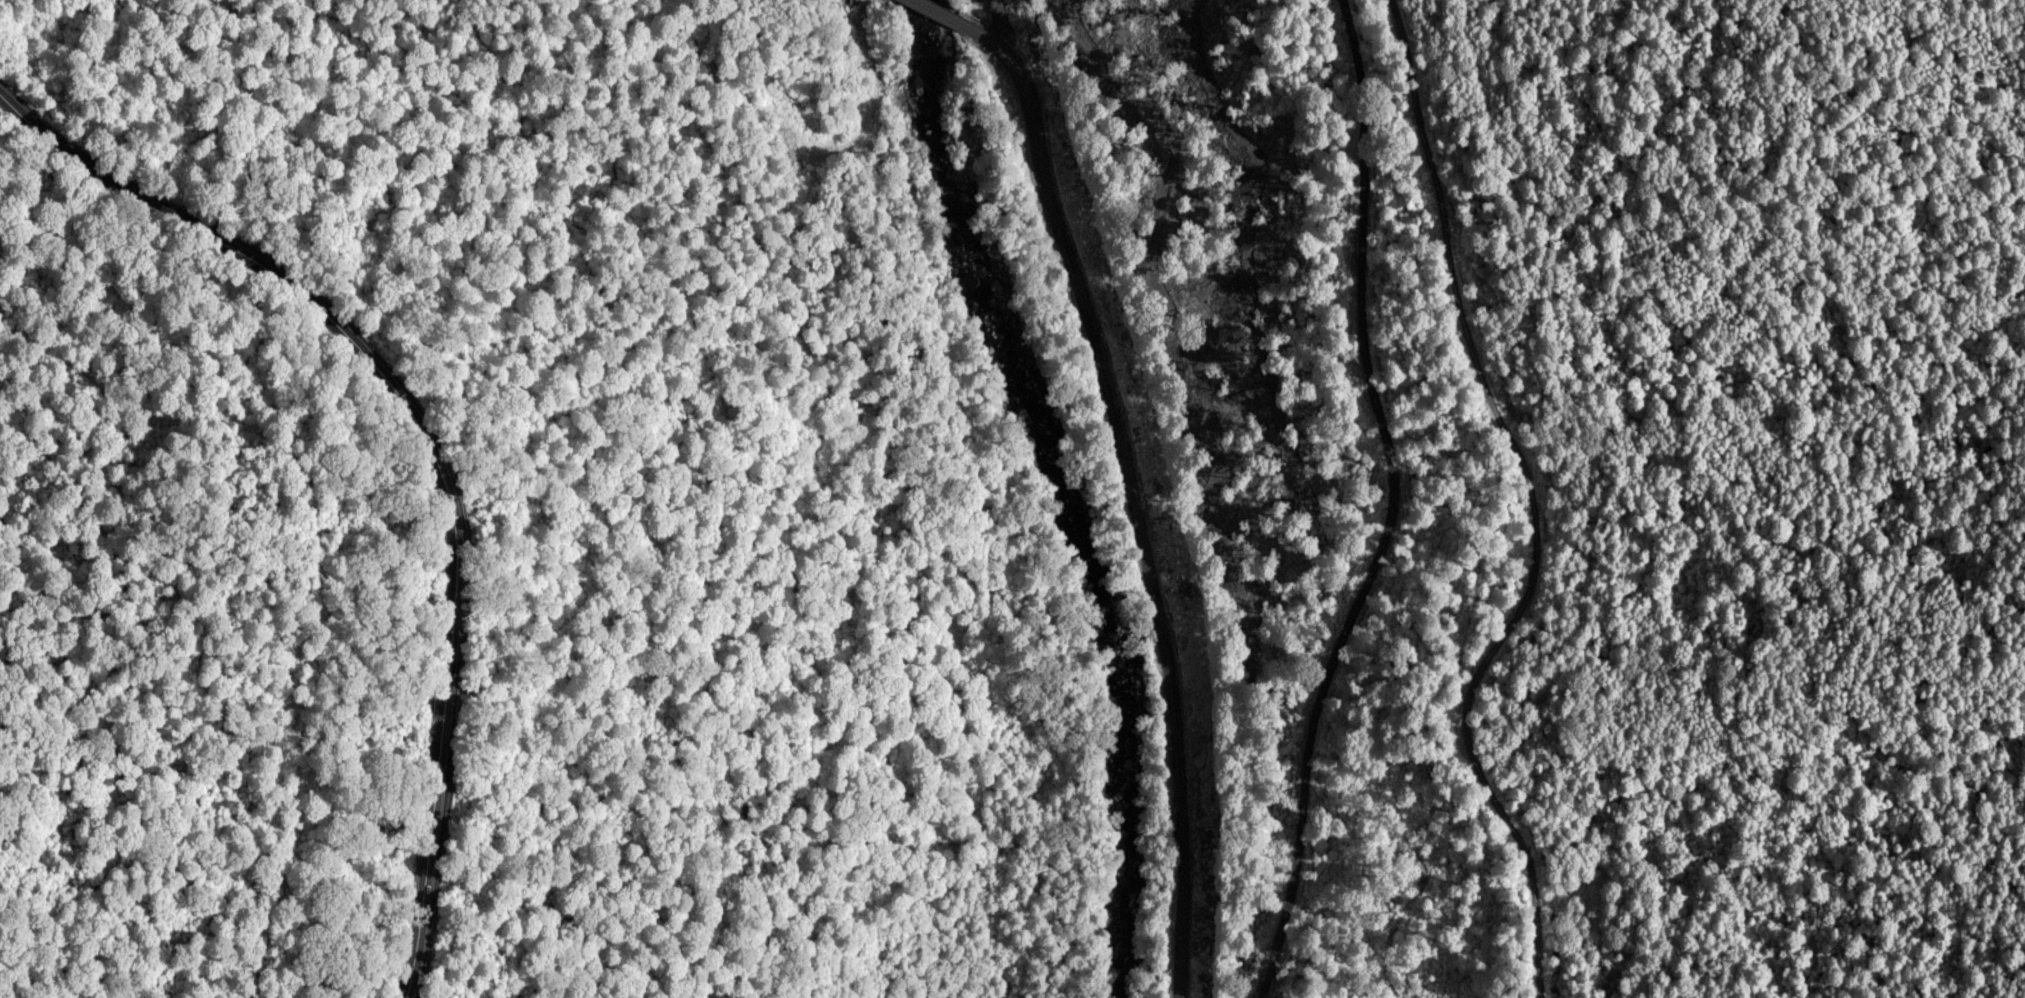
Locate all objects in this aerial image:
road: (991, 19)
road: (433, 441)
road: (1126, 467)
road: (1403, 509)

